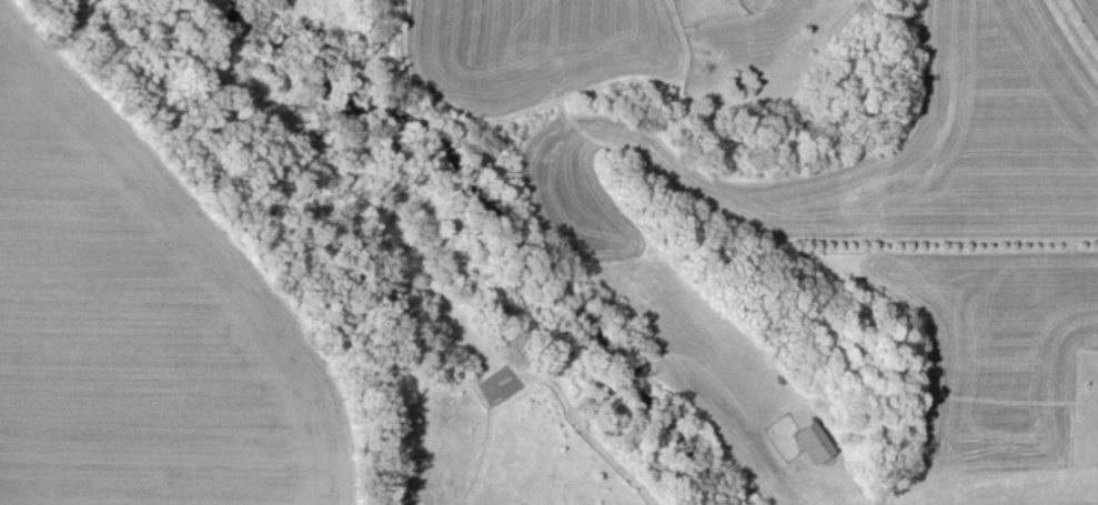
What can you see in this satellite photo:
road: (1075, 33)
building: (812, 441)

